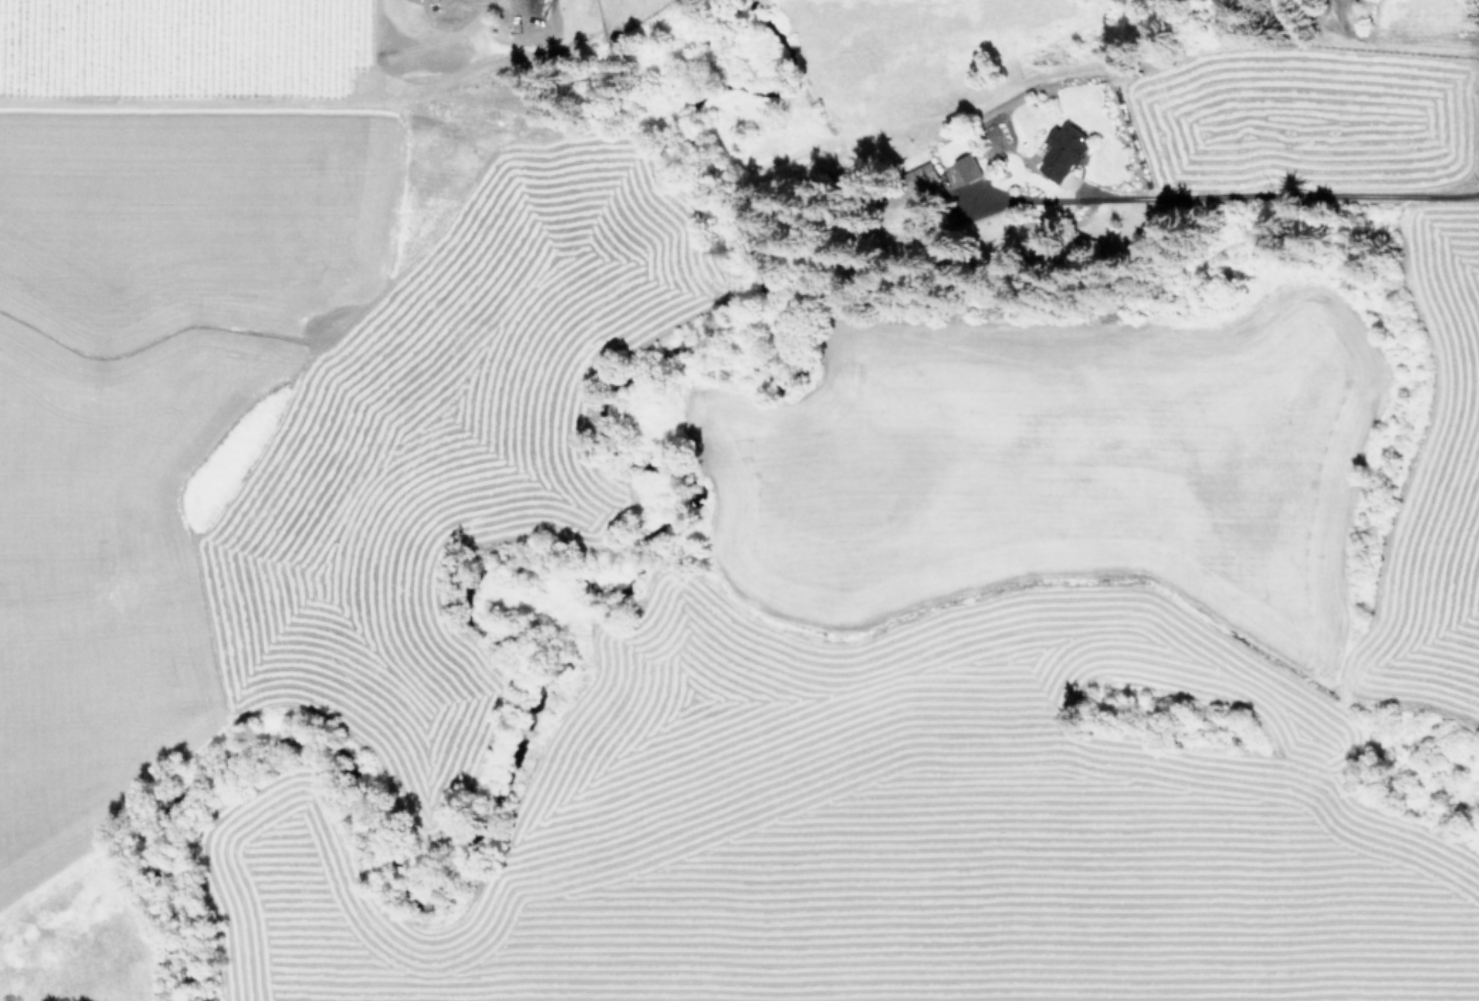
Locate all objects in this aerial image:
road: (1395, 36)
building: (1065, 151)
building: (969, 168)
building: (928, 172)
road: (1276, 199)
crop: (277, 375)
river: (332, 376)
crop: (1037, 676)

